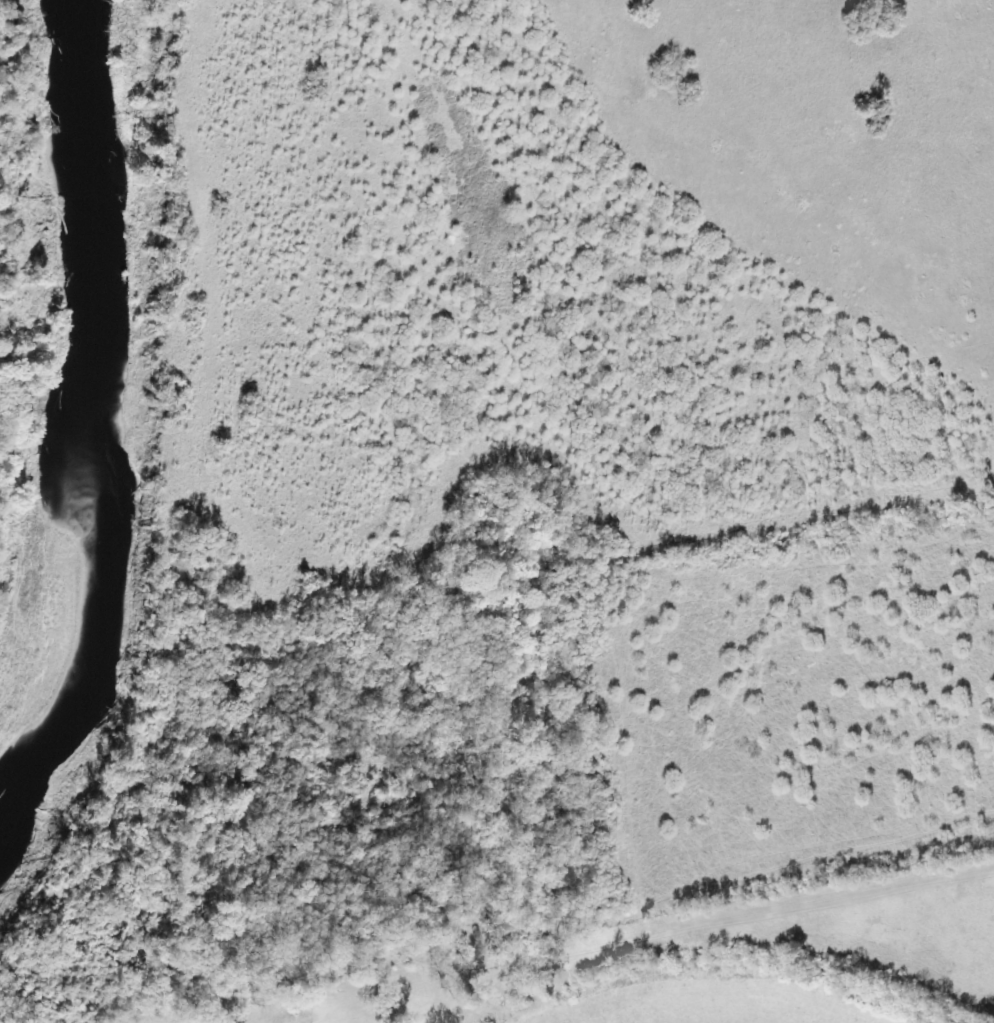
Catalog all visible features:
river: (77, 394)

